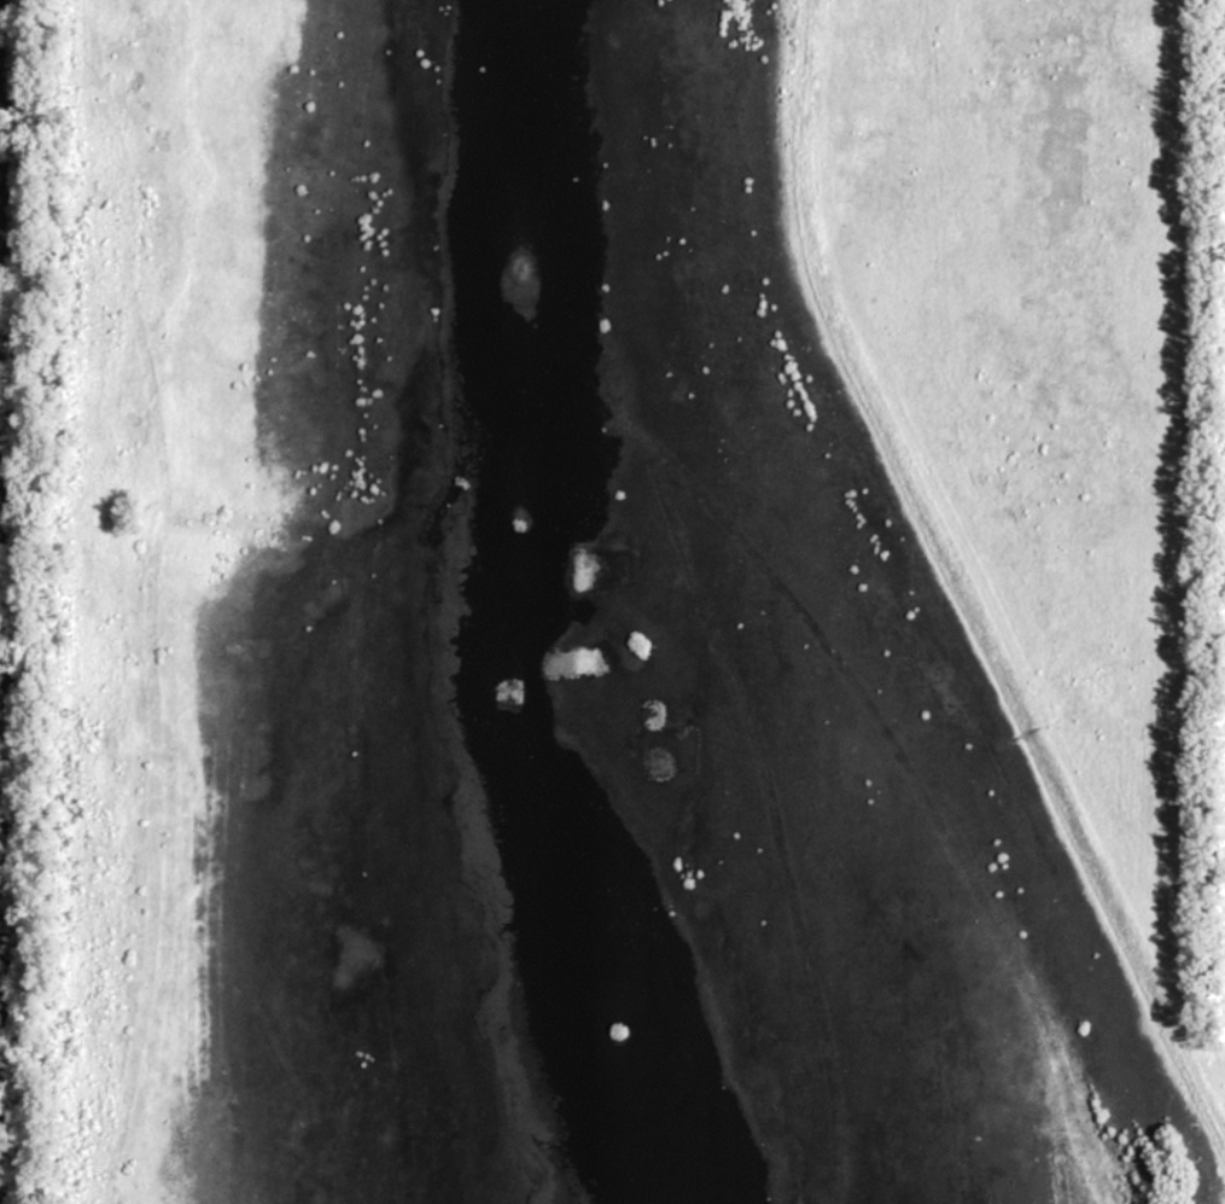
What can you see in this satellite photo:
road: (962, 578)

